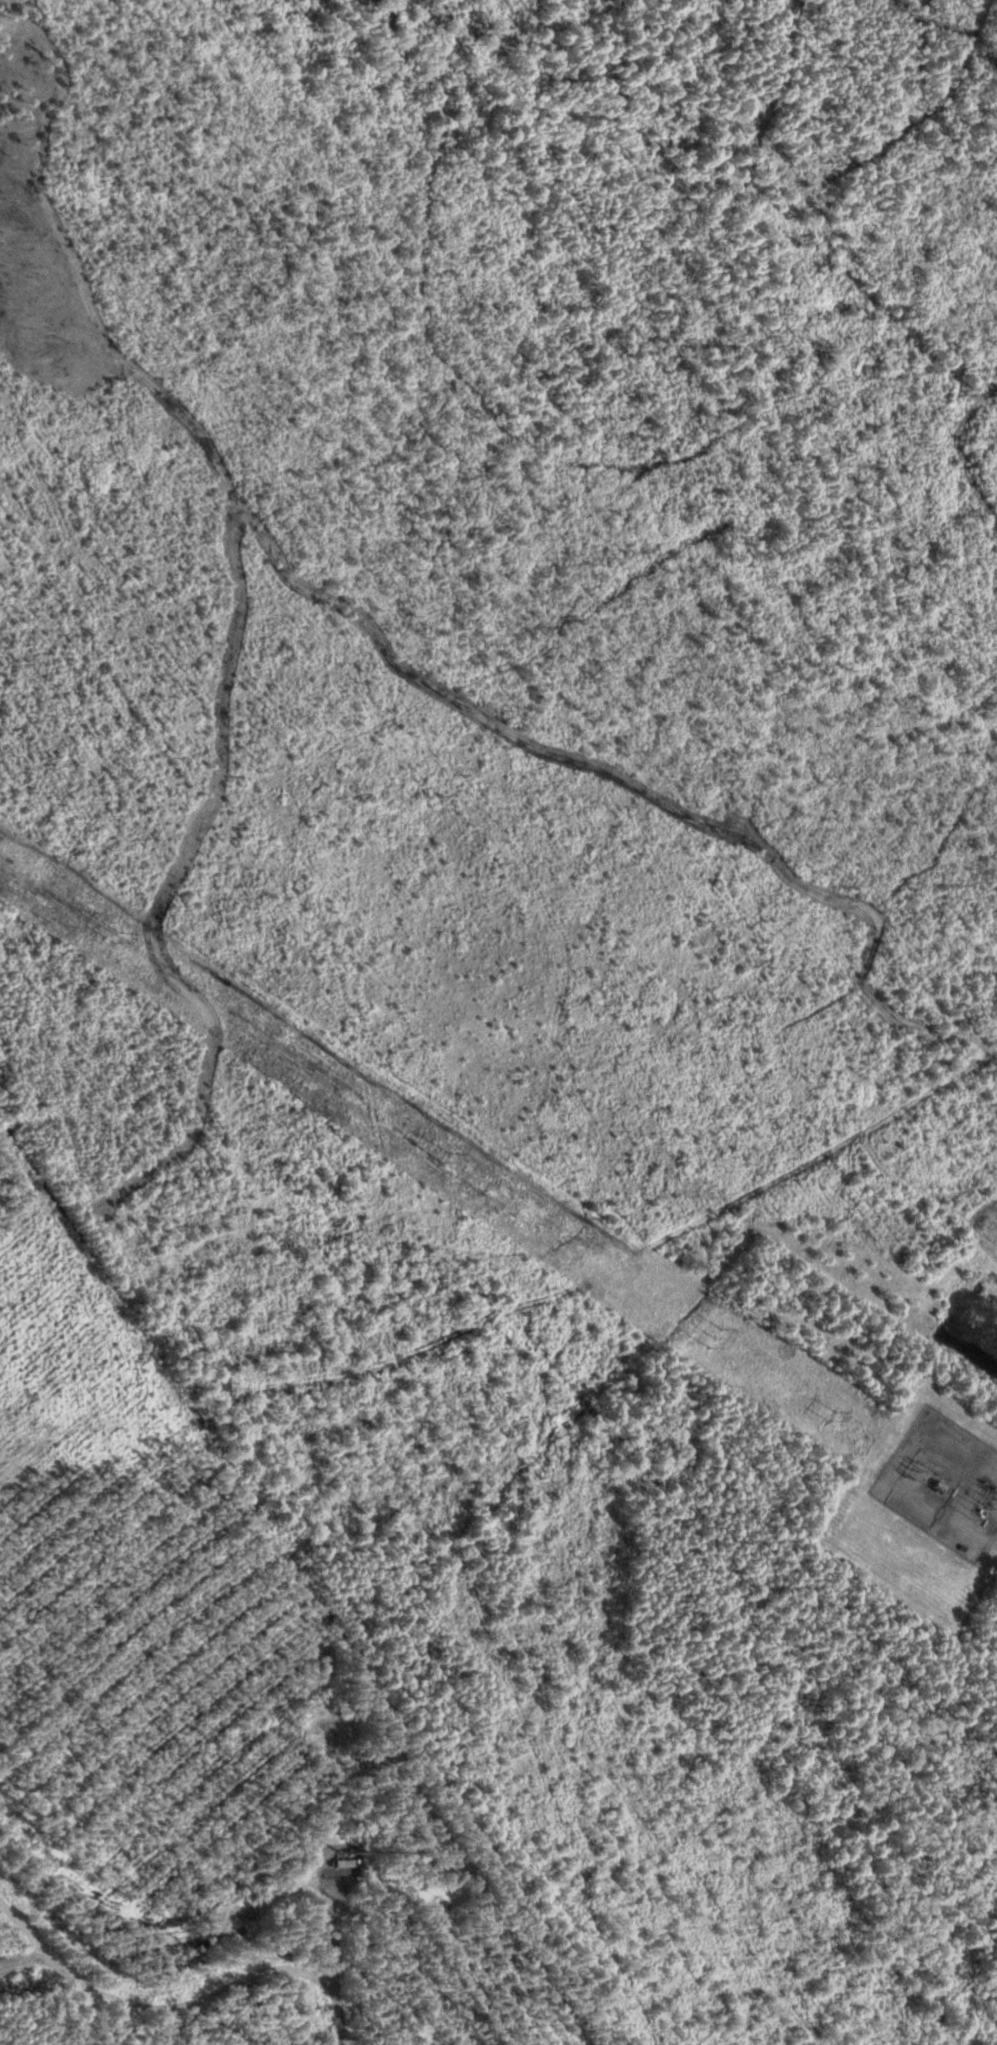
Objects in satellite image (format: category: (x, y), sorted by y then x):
power tower: (116, 936)
power tower: (448, 1156)
power tower: (716, 1337)
power tower: (833, 1416)
power substation: (943, 1483)

